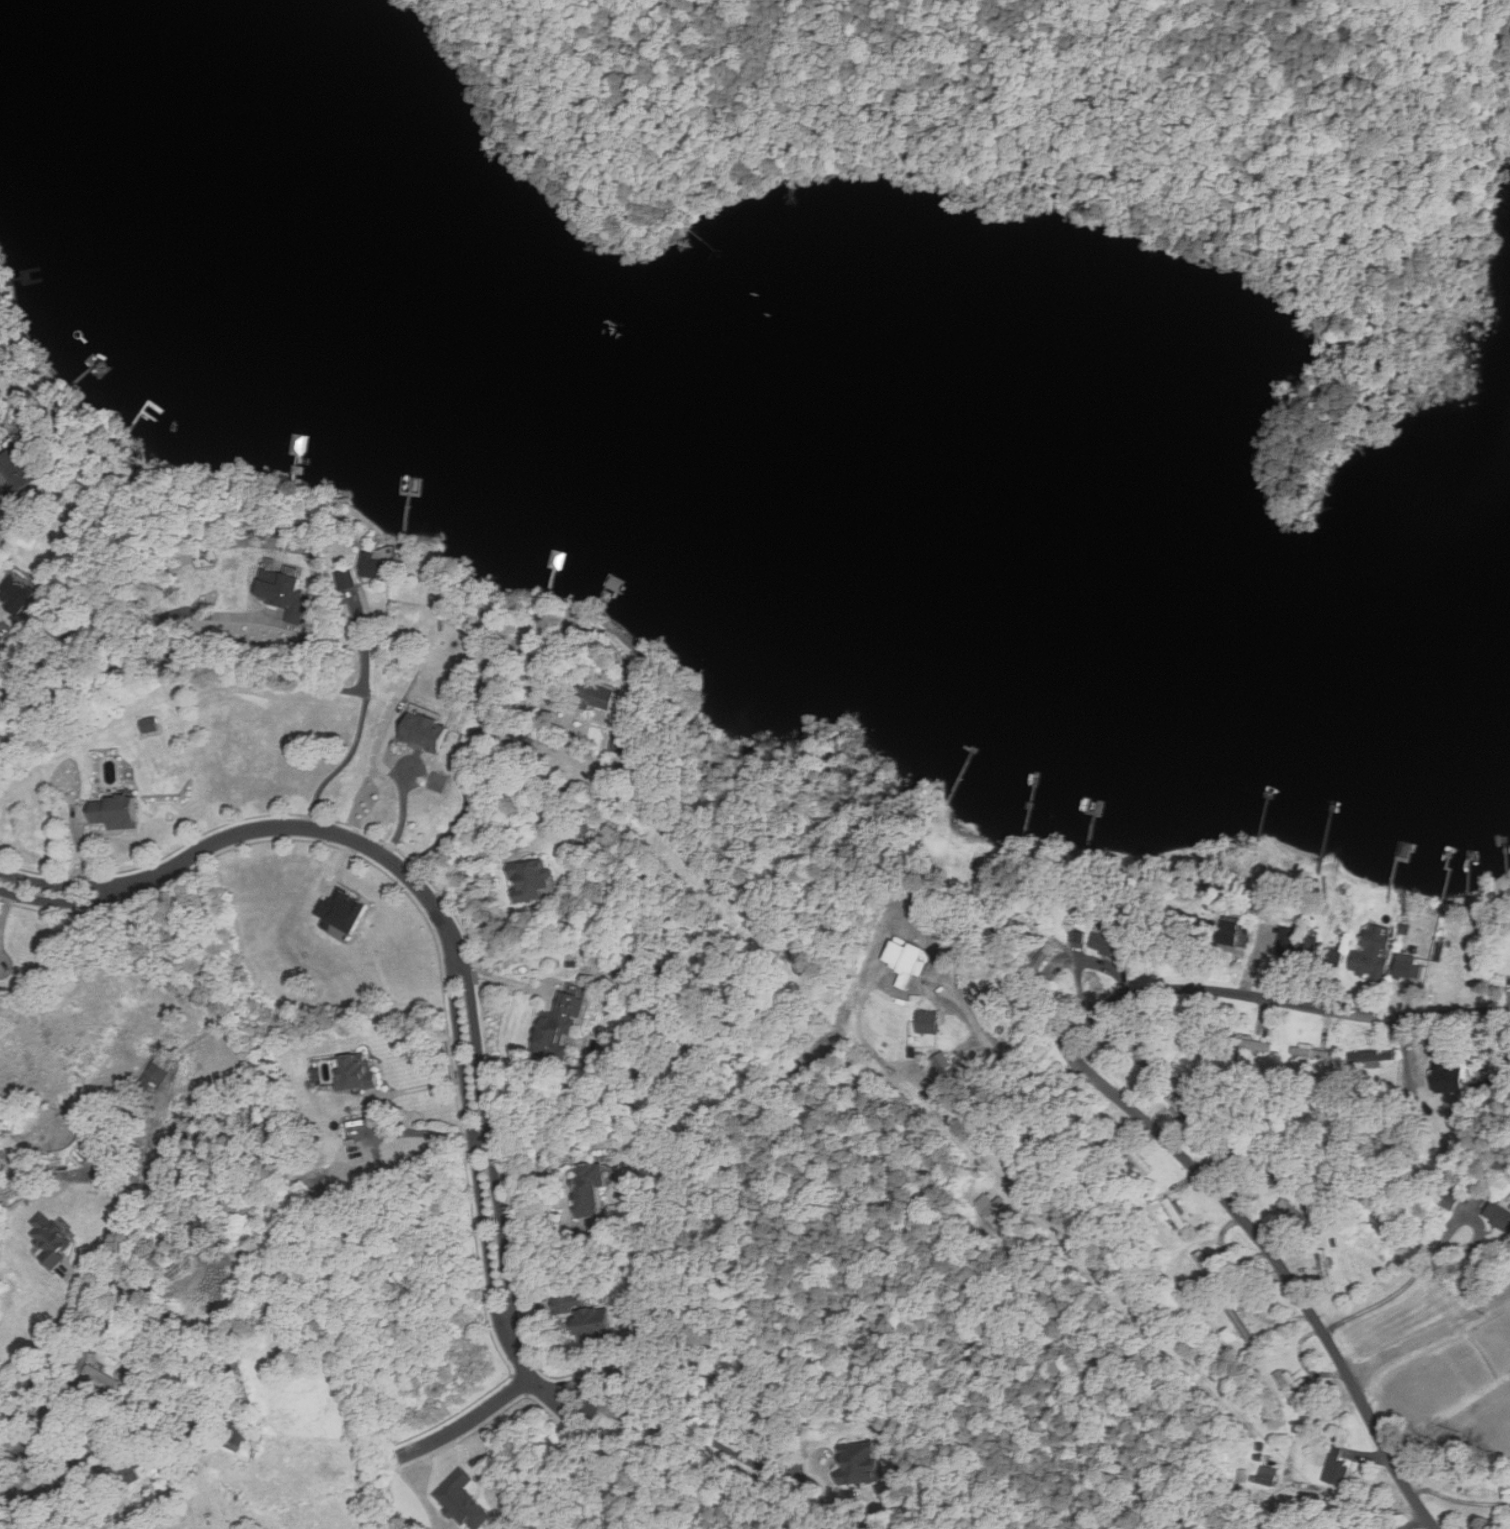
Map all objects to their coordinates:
road: (1197, 67)
building: (0, 406)
building: (20, 469)
road: (3, 538)
building: (378, 566)
building: (283, 588)
building: (20, 593)
road: (119, 650)
building: (611, 697)
building: (153, 724)
road: (356, 726)
building: (432, 732)
building: (623, 741)
road: (466, 761)
road: (371, 782)
building: (120, 812)
road: (467, 866)
building: (532, 878)
road: (984, 907)
building: (346, 913)
road: (448, 934)
building: (1289, 941)
building: (1108, 942)
building: (1376, 952)
building: (1308, 955)
building: (1409, 966)
road: (506, 982)
road: (1042, 1003)
building: (931, 1021)
building: (559, 1026)
road: (993, 1042)
building: (363, 1074)
road: (1121, 1100)
road: (379, 1118)
building: (593, 1190)
building: (1445, 1198)
building: (986, 1204)
building: (1178, 1214)
building: (1495, 1217)
building: (54, 1239)
road: (1432, 1256)
building: (1207, 1268)
building: (593, 1318)
road: (1425, 1328)
road: (54, 1330)
building: (1289, 1382)
building: (618, 1415)
road: (469, 1418)
road: (699, 1433)
building: (1334, 1449)
building: (859, 1464)
road: (564, 1467)
building: (1334, 1471)
building: (1261, 1475)
building: (468, 1500)
road: (1459, 1500)
road: (12, 1507)

